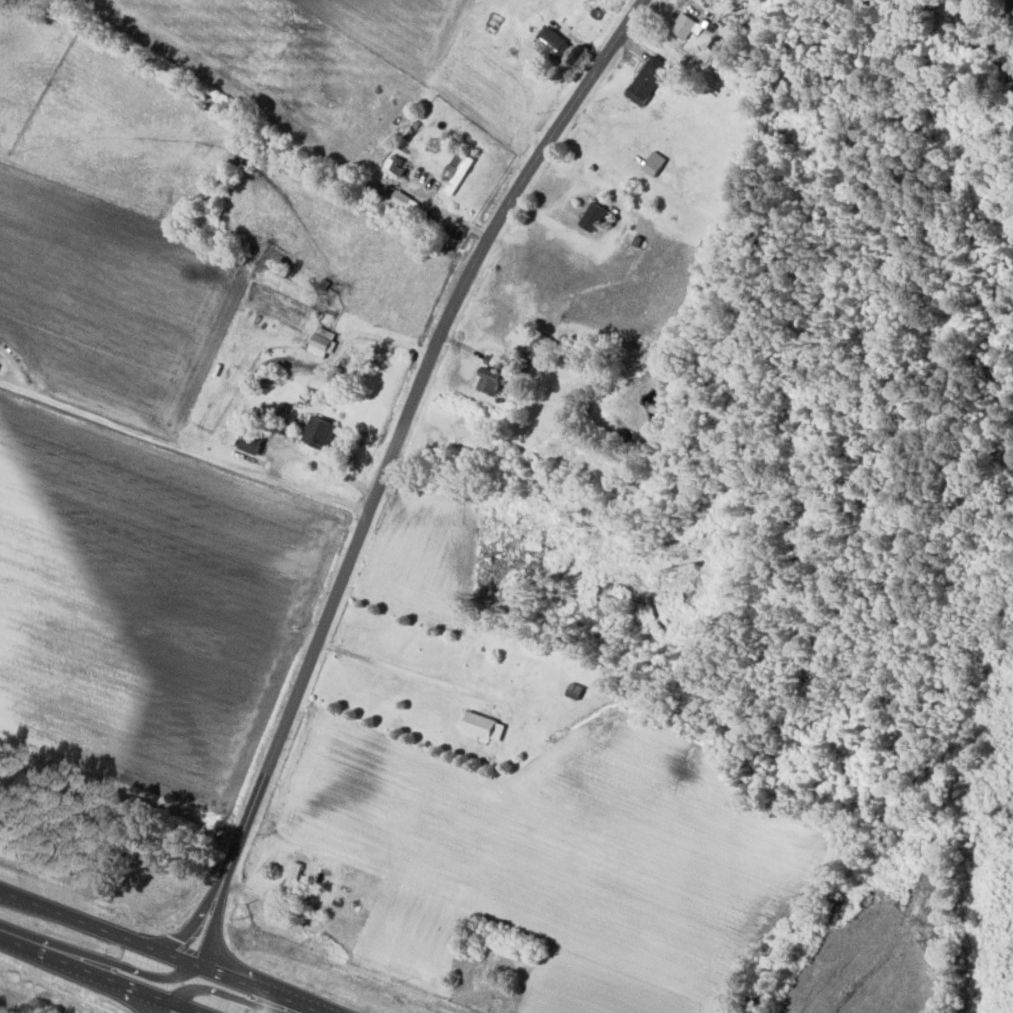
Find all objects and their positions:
building: (681, 24)
building: (549, 42)
building: (645, 79)
building: (455, 169)
building: (390, 191)
building: (591, 215)
building: (321, 341)
building: (536, 345)
building: (491, 359)
building: (489, 380)
road: (400, 429)
building: (318, 433)
building: (248, 442)
road: (183, 446)
building: (574, 691)
building: (483, 727)
building: (290, 882)
road: (214, 894)
building: (285, 942)
road: (161, 951)
road: (97, 957)
road: (101, 975)
road: (226, 993)
road: (169, 1007)
building: (469, 1009)

